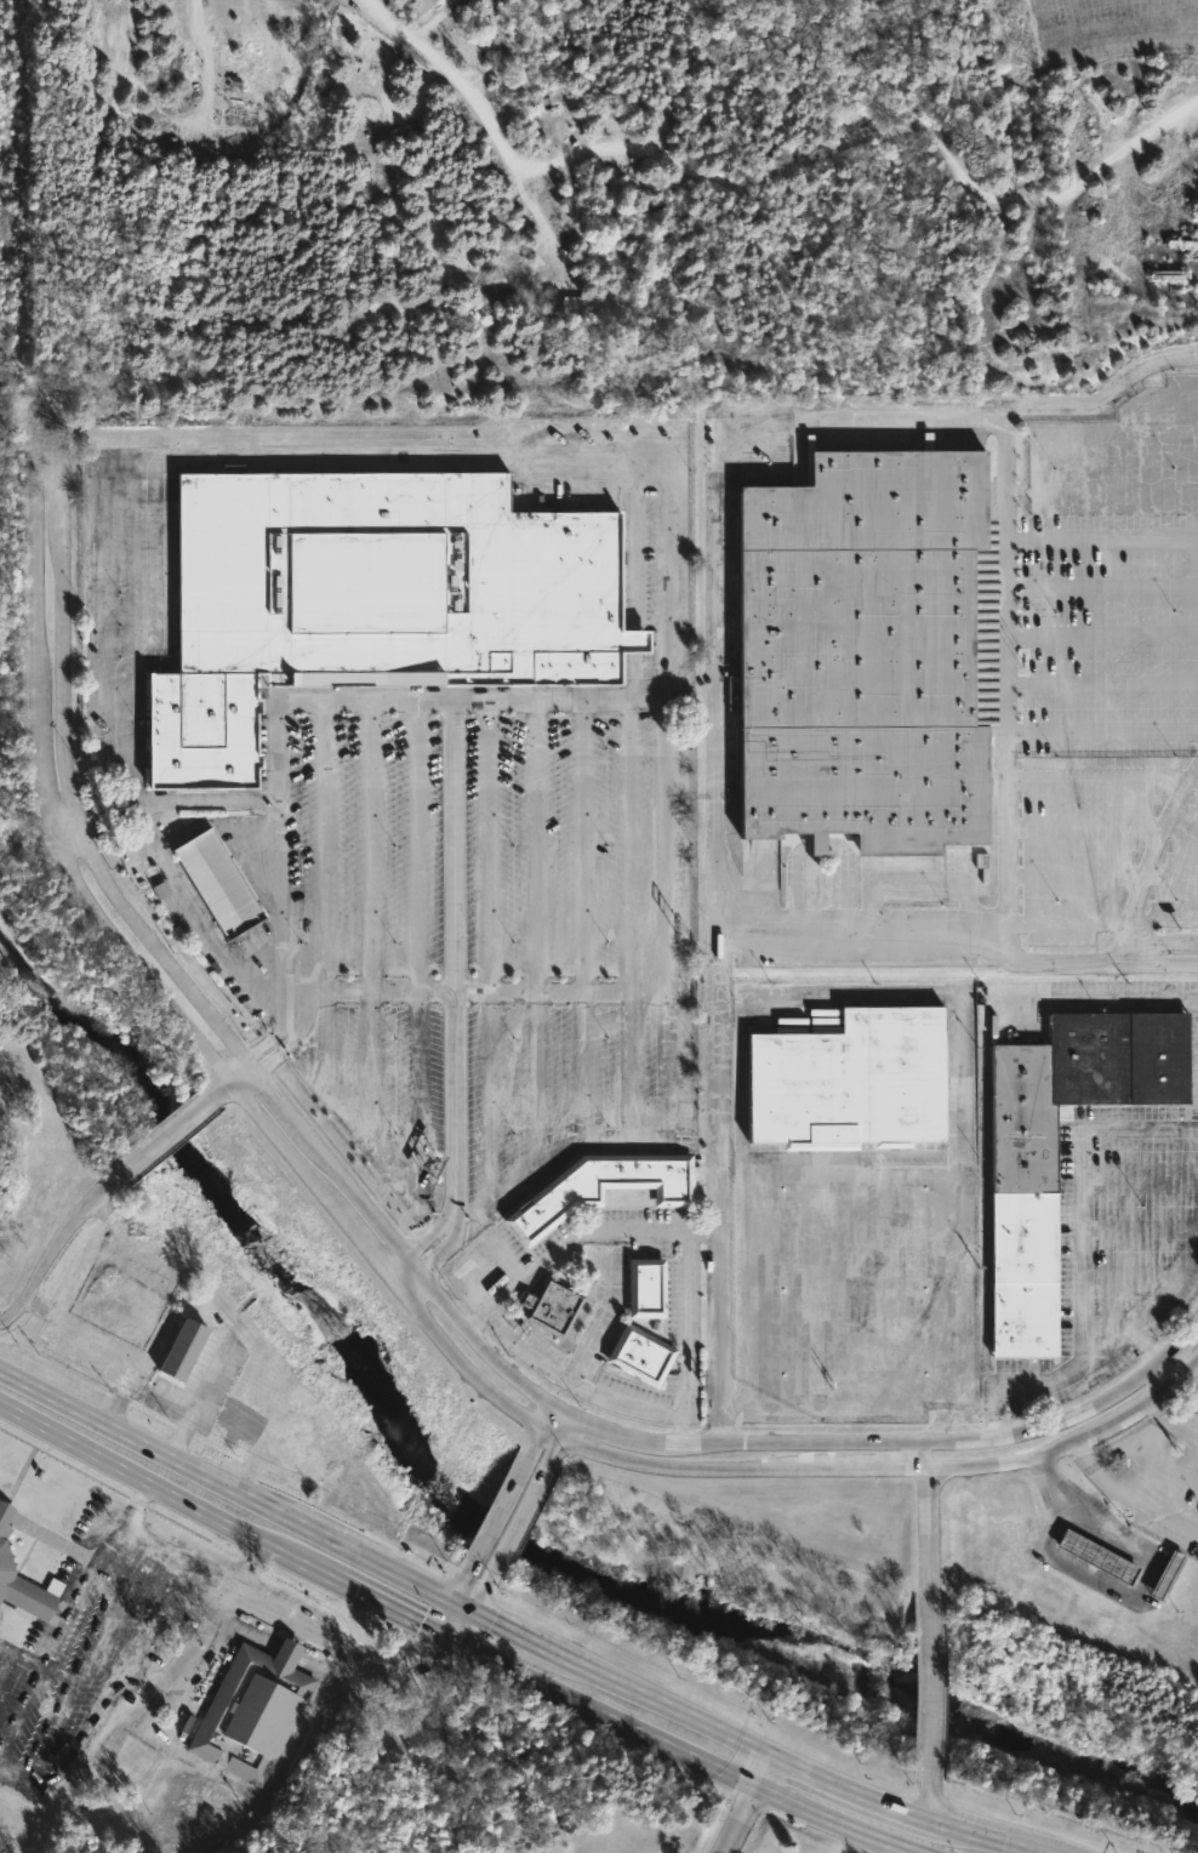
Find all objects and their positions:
road: (1102, 29)
road: (1095, 399)
road: (617, 484)
road: (1102, 536)
road: (1102, 585)
building: (366, 599)
park: (7, 601)
road: (1102, 633)
building: (865, 652)
road: (1006, 663)
road: (1102, 679)
road: (383, 702)
road: (558, 703)
road: (1102, 729)
road: (65, 771)
road: (717, 781)
road: (42, 800)
road: (1156, 840)
road: (321, 848)
building: (215, 884)
road: (1062, 923)
road: (992, 928)
road: (1160, 939)
road: (450, 958)
road: (1158, 963)
road: (583, 991)
road: (341, 992)
building: (849, 1084)
road: (718, 1134)
road: (1079, 1187)
building: (599, 1188)
road: (99, 1193)
road: (453, 1216)
road: (484, 1225)
building: (1022, 1231)
road: (485, 1237)
road: (609, 1237)
road: (609, 1253)
road: (506, 1262)
road: (535, 1271)
road: (380, 1275)
building: (645, 1287)
building: (550, 1306)
road: (595, 1318)
road: (680, 1336)
road: (718, 1338)
road: (1149, 1345)
road: (524, 1346)
building: (181, 1349)
road: (1100, 1350)
building: (639, 1356)
road: (1175, 1369)
road: (1192, 1382)
road: (199, 1398)
road: (1174, 1418)
road: (543, 1424)
road: (560, 1424)
road: (661, 1437)
road: (1128, 1439)
road: (553, 1448)
road: (890, 1469)
road: (155, 1482)
road: (226, 1484)
road: (133, 1503)
road: (1128, 1503)
road: (497, 1509)
road: (925, 1516)
road: (517, 1523)
building: (1099, 1557)
road: (184, 1572)
traffic signals: (464, 1575)
building: (1168, 1578)
building: (23, 1584)
road: (458, 1584)
road: (1107, 1587)
road: (478, 1597)
road: (463, 1601)
road: (383, 1602)
road: (445, 1613)
traffic signals: (495, 1617)
traffic signals: (421, 1621)
road: (464, 1623)
road: (523, 1630)
road: (57, 1635)
road: (21, 1655)
traffic signals: (443, 1655)
road: (89, 1661)
road: (154, 1690)
road: (935, 1690)
road: (109, 1698)
road: (671, 1705)
building: (253, 1710)
road: (684, 1752)
road: (213, 1774)
road: (13, 1778)
road: (849, 1791)
road: (745, 1803)
road: (930, 1804)
road: (968, 1832)
road: (1026, 1848)

